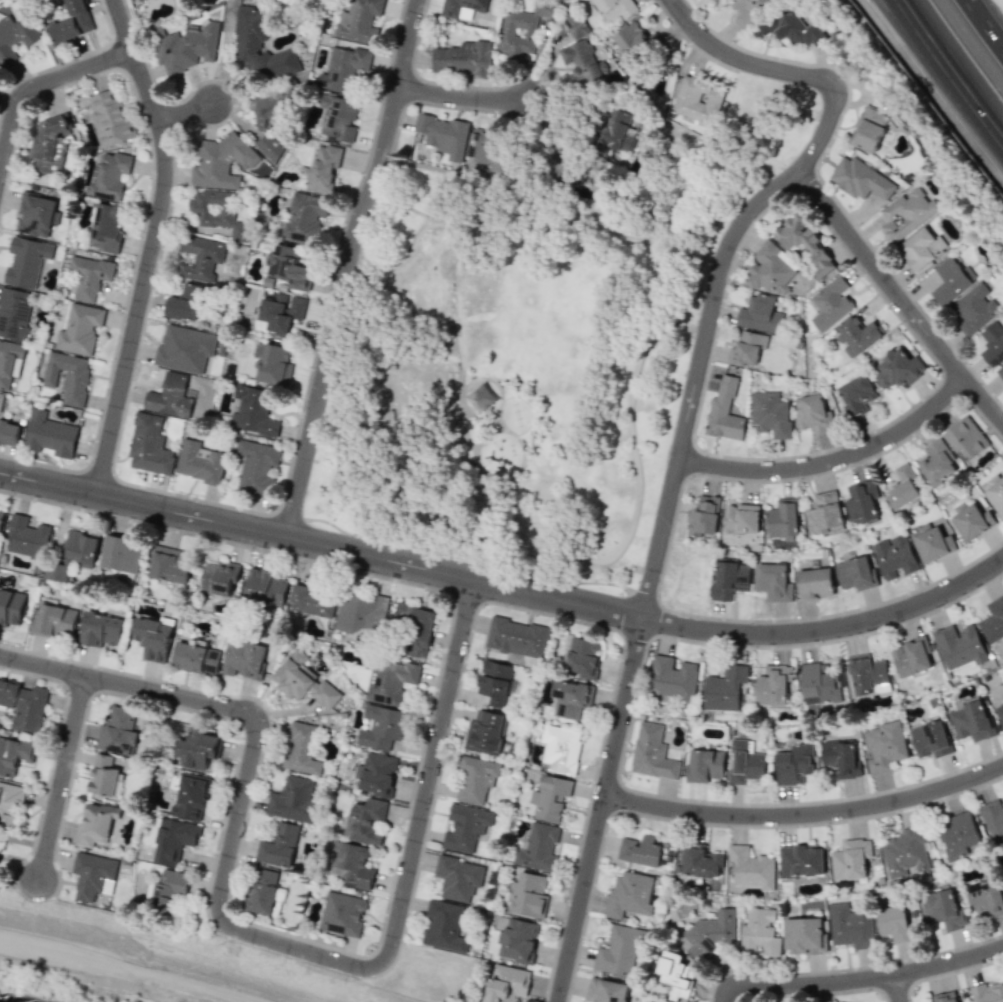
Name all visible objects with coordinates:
building: (144, 1)
building: (463, 7)
building: (616, 8)
building: (748, 10)
building: (359, 20)
building: (72, 22)
road: (986, 23)
building: (522, 28)
building: (790, 29)
building: (15, 34)
building: (633, 41)
building: (261, 45)
building: (185, 46)
building: (581, 52)
building: (463, 58)
road: (64, 61)
building: (345, 67)
road: (784, 71)
road: (947, 75)
road: (37, 88)
road: (934, 89)
road: (466, 97)
building: (698, 100)
building: (267, 108)
road: (186, 115)
building: (338, 116)
building: (110, 119)
building: (868, 128)
building: (616, 132)
building: (443, 135)
building: (49, 143)
building: (270, 145)
building: (221, 161)
building: (323, 167)
road: (705, 169)
building: (109, 177)
road: (819, 177)
building: (860, 179)
road: (147, 205)
building: (905, 214)
building: (37, 215)
building: (303, 217)
road: (484, 222)
road: (190, 225)
building: (105, 227)
building: (803, 240)
road: (149, 244)
building: (921, 248)
building: (201, 257)
building: (26, 261)
road: (346, 267)
building: (770, 268)
building: (289, 269)
building: (89, 275)
building: (951, 280)
road: (897, 298)
building: (186, 303)
building: (830, 303)
building: (973, 309)
building: (281, 311)
building: (14, 313)
building: (759, 314)
building: (79, 329)
building: (856, 335)
building: (992, 342)
building: (184, 348)
building: (747, 348)
building: (8, 360)
building: (273, 364)
park: (524, 366)
building: (898, 369)
building: (1000, 373)
building: (67, 376)
building: (856, 395)
building: (170, 396)
road: (462, 396)
road: (500, 396)
building: (480, 397)
building: (1, 399)
building: (253, 411)
building: (724, 412)
building: (770, 413)
building: (812, 414)
road: (498, 421)
building: (9, 433)
building: (49, 435)
building: (965, 437)
building: (149, 444)
road: (521, 448)
road: (830, 461)
building: (198, 462)
building: (936, 462)
building: (256, 465)
road: (143, 485)
building: (902, 487)
building: (995, 492)
building: (865, 501)
building: (824, 513)
building: (704, 515)
building: (1, 516)
building: (740, 518)
building: (782, 519)
road: (408, 520)
building: (970, 520)
road: (336, 528)
building: (26, 537)
building: (932, 543)
building: (74, 554)
building: (121, 554)
building: (894, 557)
building: (170, 564)
road: (650, 570)
building: (854, 574)
building: (220, 577)
building: (729, 578)
building: (772, 581)
building: (814, 583)
building: (264, 587)
road: (505, 587)
building: (312, 601)
building: (11, 607)
building: (359, 615)
building: (54, 618)
building: (992, 620)
building: (415, 627)
building: (101, 629)
building: (517, 637)
building: (958, 646)
building: (195, 656)
building: (910, 656)
building: (583, 657)
building: (244, 659)
building: (867, 674)
building: (672, 679)
building: (389, 680)
building: (304, 681)
building: (495, 682)
building: (818, 682)
building: (771, 685)
building: (723, 688)
building: (1002, 696)
building: (570, 698)
building: (24, 705)
building: (999, 713)
building: (971, 721)
building: (381, 727)
building: (485, 732)
building: (119, 733)
building: (930, 739)
building: (560, 747)
building: (883, 747)
building: (300, 748)
building: (198, 749)
building: (652, 753)
building: (14, 754)
building: (840, 759)
building: (744, 762)
building: (794, 764)
building: (704, 765)
building: (105, 773)
building: (377, 774)
road: (60, 775)
building: (475, 779)
building: (190, 797)
building: (550, 797)
building: (292, 799)
building: (9, 801)
road: (804, 812)
building: (365, 821)
building: (993, 821)
building: (95, 824)
building: (465, 827)
building: (957, 835)
building: (171, 839)
building: (279, 846)
building: (537, 847)
building: (641, 850)
building: (904, 852)
building: (850, 859)
building: (700, 860)
building: (800, 861)
building: (351, 863)
building: (1002, 865)
building: (750, 868)
building: (458, 878)
building: (168, 890)
building: (262, 891)
building: (630, 893)
building: (529, 894)
building: (986, 896)
building: (945, 909)
building: (342, 914)
building: (893, 923)
building: (444, 926)
building: (848, 926)
building: (759, 932)
building: (711, 933)
building: (804, 935)
road: (261, 937)
building: (518, 940)
building: (618, 951)
road: (128, 967)
building: (675, 975)
road: (859, 978)
building: (507, 983)
road: (895, 988)
building: (605, 990)
building: (987, 993)
building: (945, 997)
building: (648, 1001)

